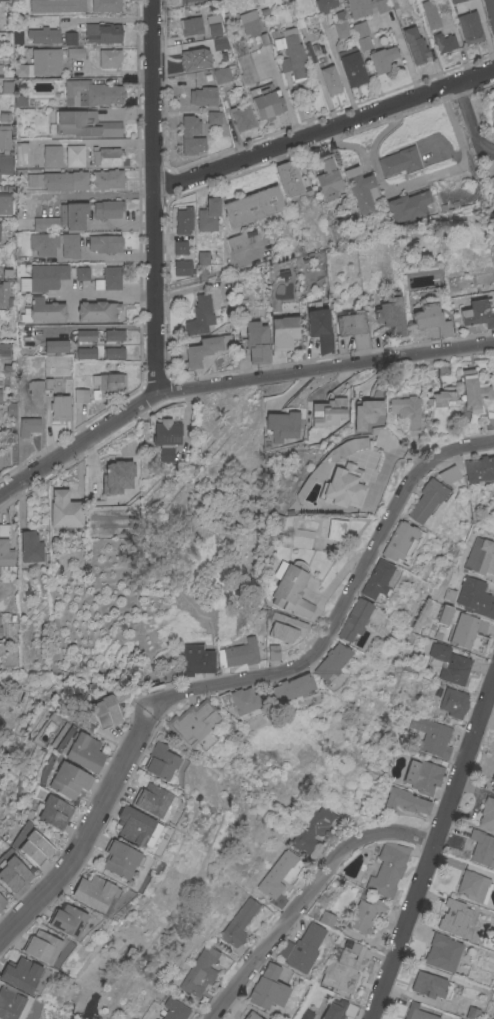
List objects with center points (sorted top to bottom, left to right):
building: (187, 1)
building: (454, 1)
building: (411, 4)
building: (57, 5)
building: (105, 5)
building: (325, 5)
building: (442, 5)
building: (365, 6)
building: (429, 13)
building: (489, 13)
road: (107, 19)
building: (248, 22)
building: (340, 25)
building: (191, 26)
building: (469, 27)
building: (214, 29)
building: (102, 32)
building: (43, 35)
building: (361, 35)
building: (70, 38)
building: (443, 42)
building: (219, 43)
building: (415, 45)
road: (402, 49)
building: (75, 52)
building: (293, 55)
building: (109, 57)
building: (382, 58)
building: (198, 59)
building: (46, 61)
building: (351, 67)
building: (246, 69)
building: (20, 70)
building: (0, 71)
road: (117, 72)
building: (221, 75)
building: (329, 79)
building: (91, 93)
building: (203, 95)
building: (20, 100)
building: (266, 101)
building: (493, 113)
building: (214, 117)
building: (241, 117)
building: (84, 124)
road: (468, 124)
road: (323, 130)
building: (185, 135)
building: (4, 137)
road: (84, 140)
building: (21, 153)
building: (75, 155)
building: (52, 156)
building: (106, 156)
building: (399, 161)
building: (5, 164)
building: (288, 178)
building: (107, 179)
building: (327, 179)
building: (59, 180)
building: (360, 190)
road: (153, 197)
building: (5, 203)
building: (409, 205)
building: (252, 206)
building: (107, 208)
building: (208, 214)
building: (72, 216)
building: (46, 223)
building: (182, 229)
building: (242, 239)
building: (44, 243)
building: (104, 243)
building: (69, 245)
building: (203, 257)
building: (183, 267)
building: (493, 268)
building: (81, 273)
road: (207, 273)
building: (46, 276)
building: (108, 279)
building: (4, 293)
road: (103, 295)
building: (45, 311)
building: (97, 311)
building: (478, 312)
building: (391, 313)
building: (200, 315)
building: (431, 319)
building: (320, 328)
building: (354, 328)
building: (284, 331)
building: (86, 334)
building: (114, 334)
building: (255, 341)
building: (55, 346)
building: (4, 349)
building: (205, 349)
building: (86, 352)
building: (114, 352)
building: (443, 368)
road: (233, 382)
building: (107, 383)
building: (34, 386)
building: (473, 390)
building: (0, 394)
building: (81, 395)
building: (442, 397)
building: (11, 408)
building: (59, 408)
building: (407, 410)
building: (328, 411)
building: (366, 413)
building: (28, 426)
building: (281, 426)
building: (166, 438)
building: (479, 468)
building: (120, 473)
building: (343, 486)
building: (432, 494)
building: (65, 510)
building: (336, 529)
road: (377, 529)
building: (400, 541)
building: (30, 547)
building: (5, 549)
building: (481, 556)
building: (376, 580)
building: (290, 587)
building: (476, 597)
building: (445, 614)
building: (354, 620)
building: (284, 626)
building: (0, 632)
building: (467, 634)
building: (238, 653)
building: (272, 653)
building: (196, 661)
building: (331, 662)
building: (449, 663)
road: (221, 683)
building: (291, 687)
building: (454, 702)
building: (241, 703)
building: (105, 711)
building: (192, 722)
building: (227, 728)
building: (432, 735)
building: (84, 751)
building: (160, 761)
building: (423, 775)
building: (69, 780)
building: (492, 781)
building: (152, 799)
building: (405, 801)
building: (54, 812)
building: (487, 814)
building: (134, 824)
road: (84, 825)
building: (312, 833)
building: (35, 847)
building: (482, 847)
road: (432, 848)
building: (120, 858)
building: (388, 868)
building: (13, 874)
building: (277, 878)
building: (472, 885)
building: (94, 892)
road: (307, 896)
building: (2, 901)
building: (365, 914)
building: (454, 917)
building: (326, 918)
building: (67, 920)
building: (239, 923)
building: (42, 946)
building: (301, 947)
building: (442, 952)
building: (343, 967)
building: (21, 973)
building: (201, 974)
building: (431, 985)
building: (267, 988)
building: (13, 1003)
building: (174, 1009)
building: (338, 1009)
building: (417, 1012)
building: (471, 1012)
building: (305, 1014)
building: (250, 1016)
building: (456, 1018)
building: (457, 1018)

